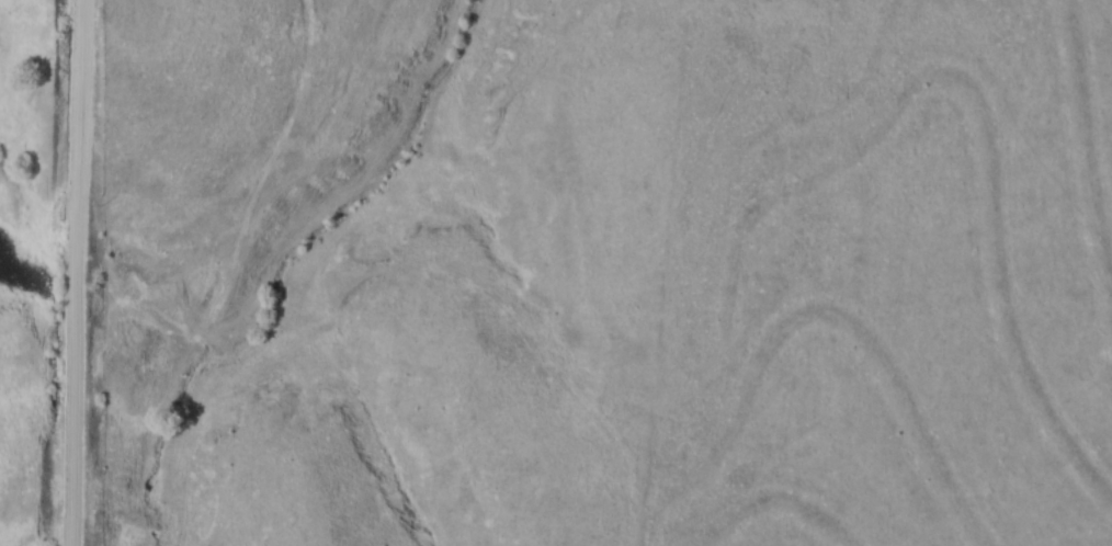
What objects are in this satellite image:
road: (76, 272)

